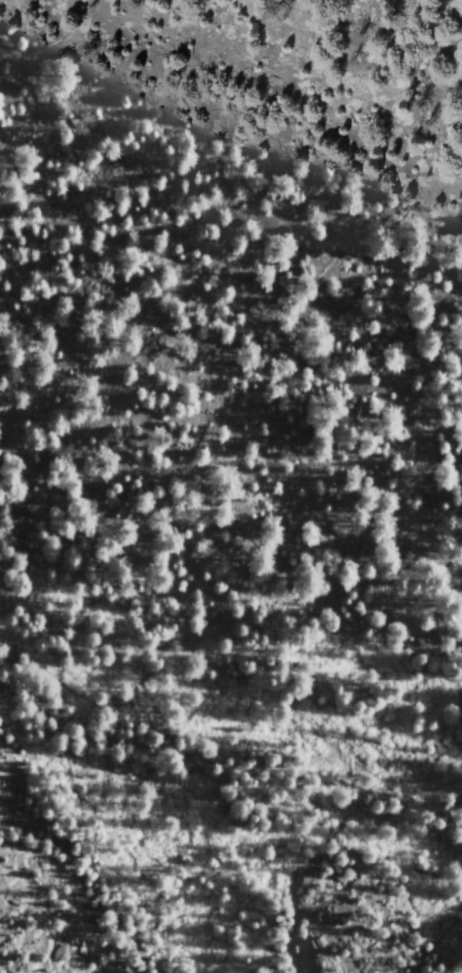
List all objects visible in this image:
road: (216, 765)

